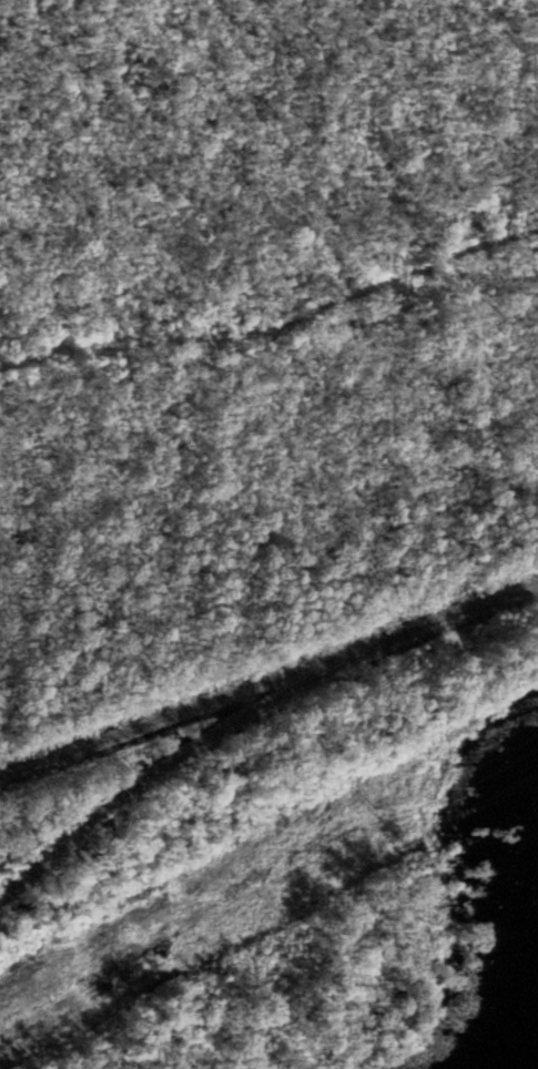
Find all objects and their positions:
railway: (268, 678)
railway: (197, 742)
power tower: (376, 812)

